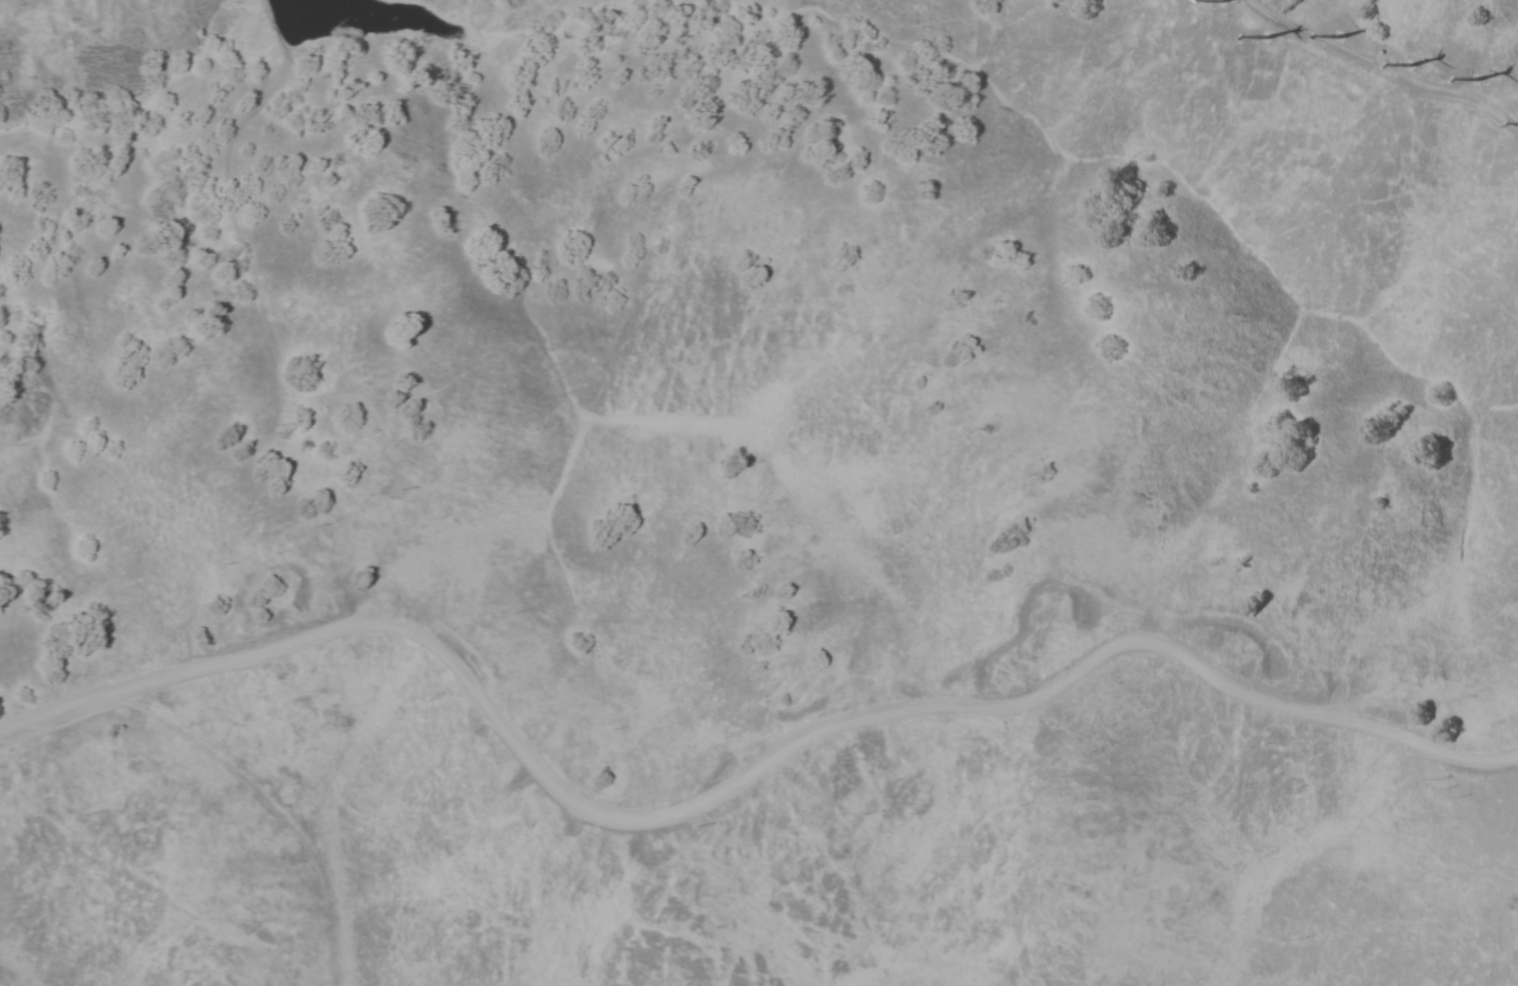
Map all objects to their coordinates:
wind turbine: (1230, 2)
wind turbine: (1270, 32)
wind turbine: (1340, 33)
wind turbine: (1412, 60)
road: (1380, 69)
wind turbine: (1476, 77)
road: (737, 783)

